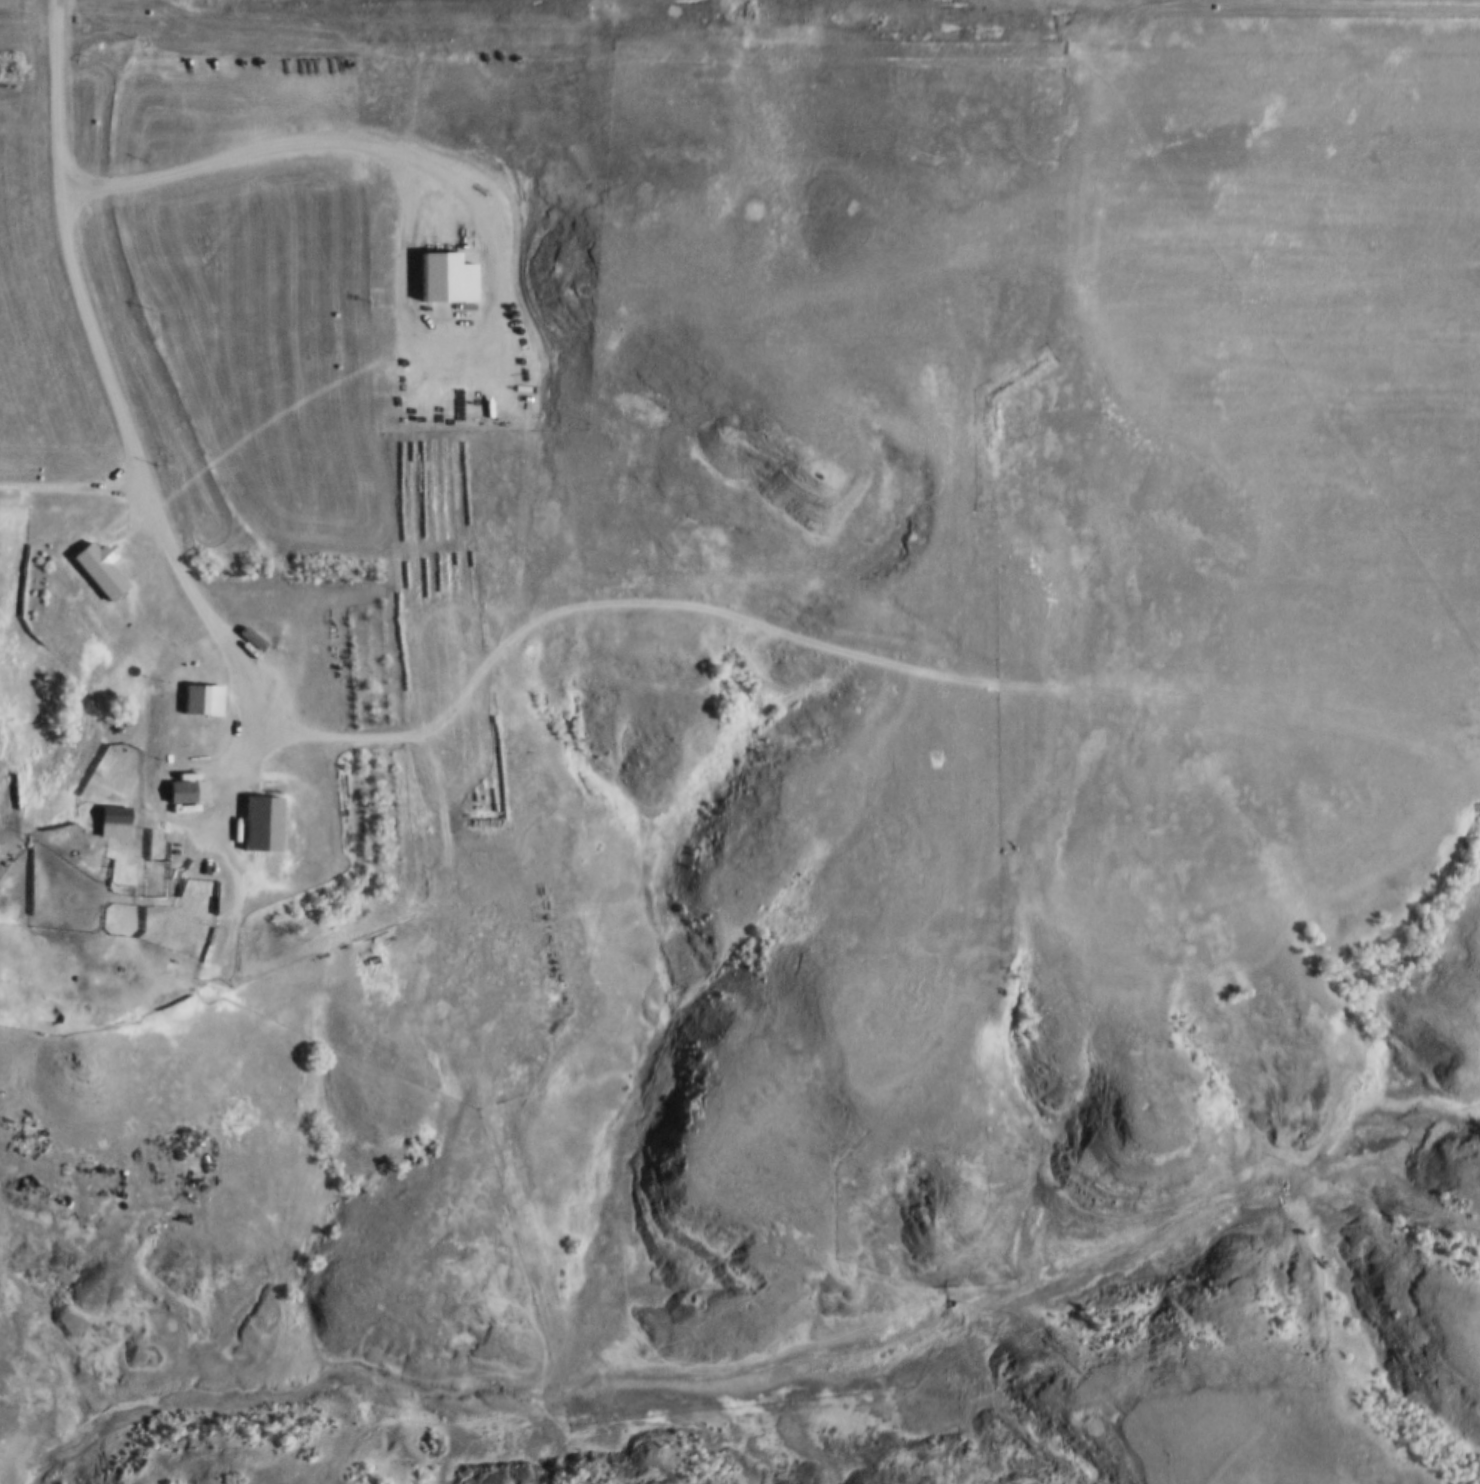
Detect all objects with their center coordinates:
road: (144, 486)
road: (76, 492)
building: (252, 643)
road: (864, 662)
building: (198, 702)
building: (176, 794)
building: (476, 822)
building: (110, 824)
building: (257, 826)
building: (190, 888)

